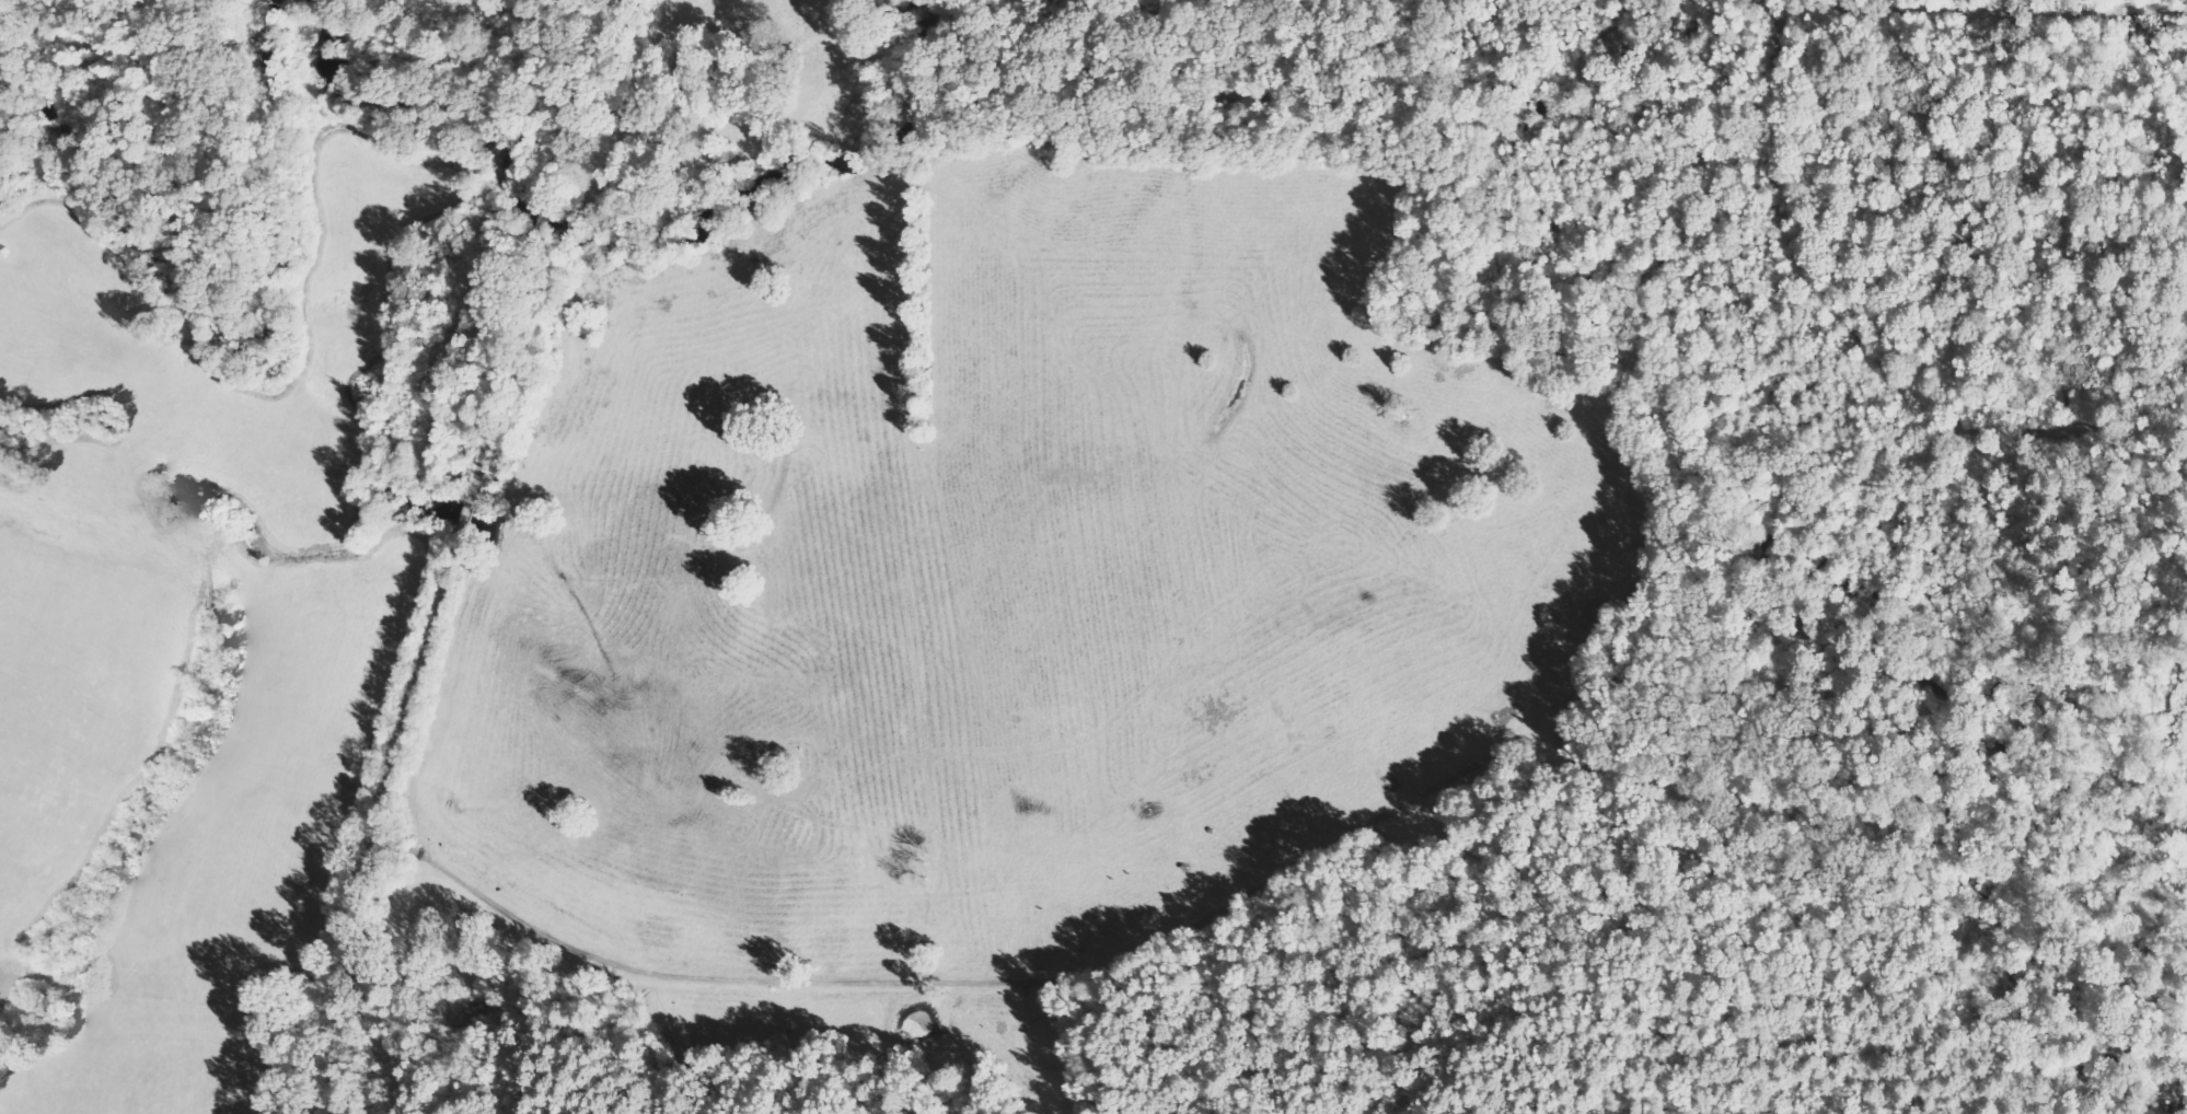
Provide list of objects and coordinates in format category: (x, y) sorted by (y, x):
road: (539, 241)
road: (386, 799)
road: (847, 985)

